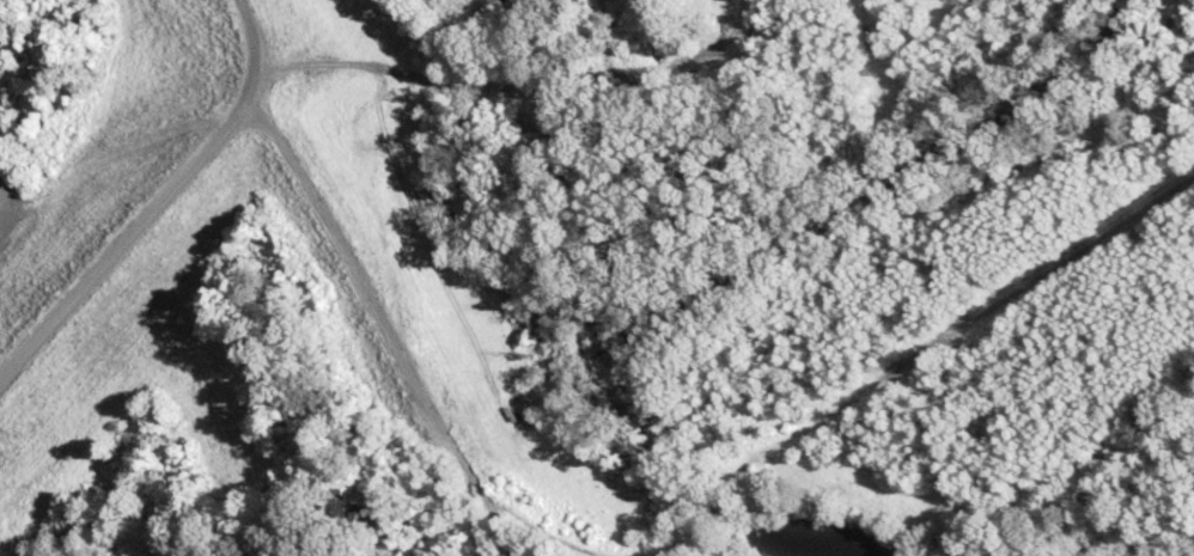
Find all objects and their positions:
road: (520, 92)
road: (159, 203)
road: (400, 363)
road: (914, 363)
road: (482, 530)
road: (494, 531)

